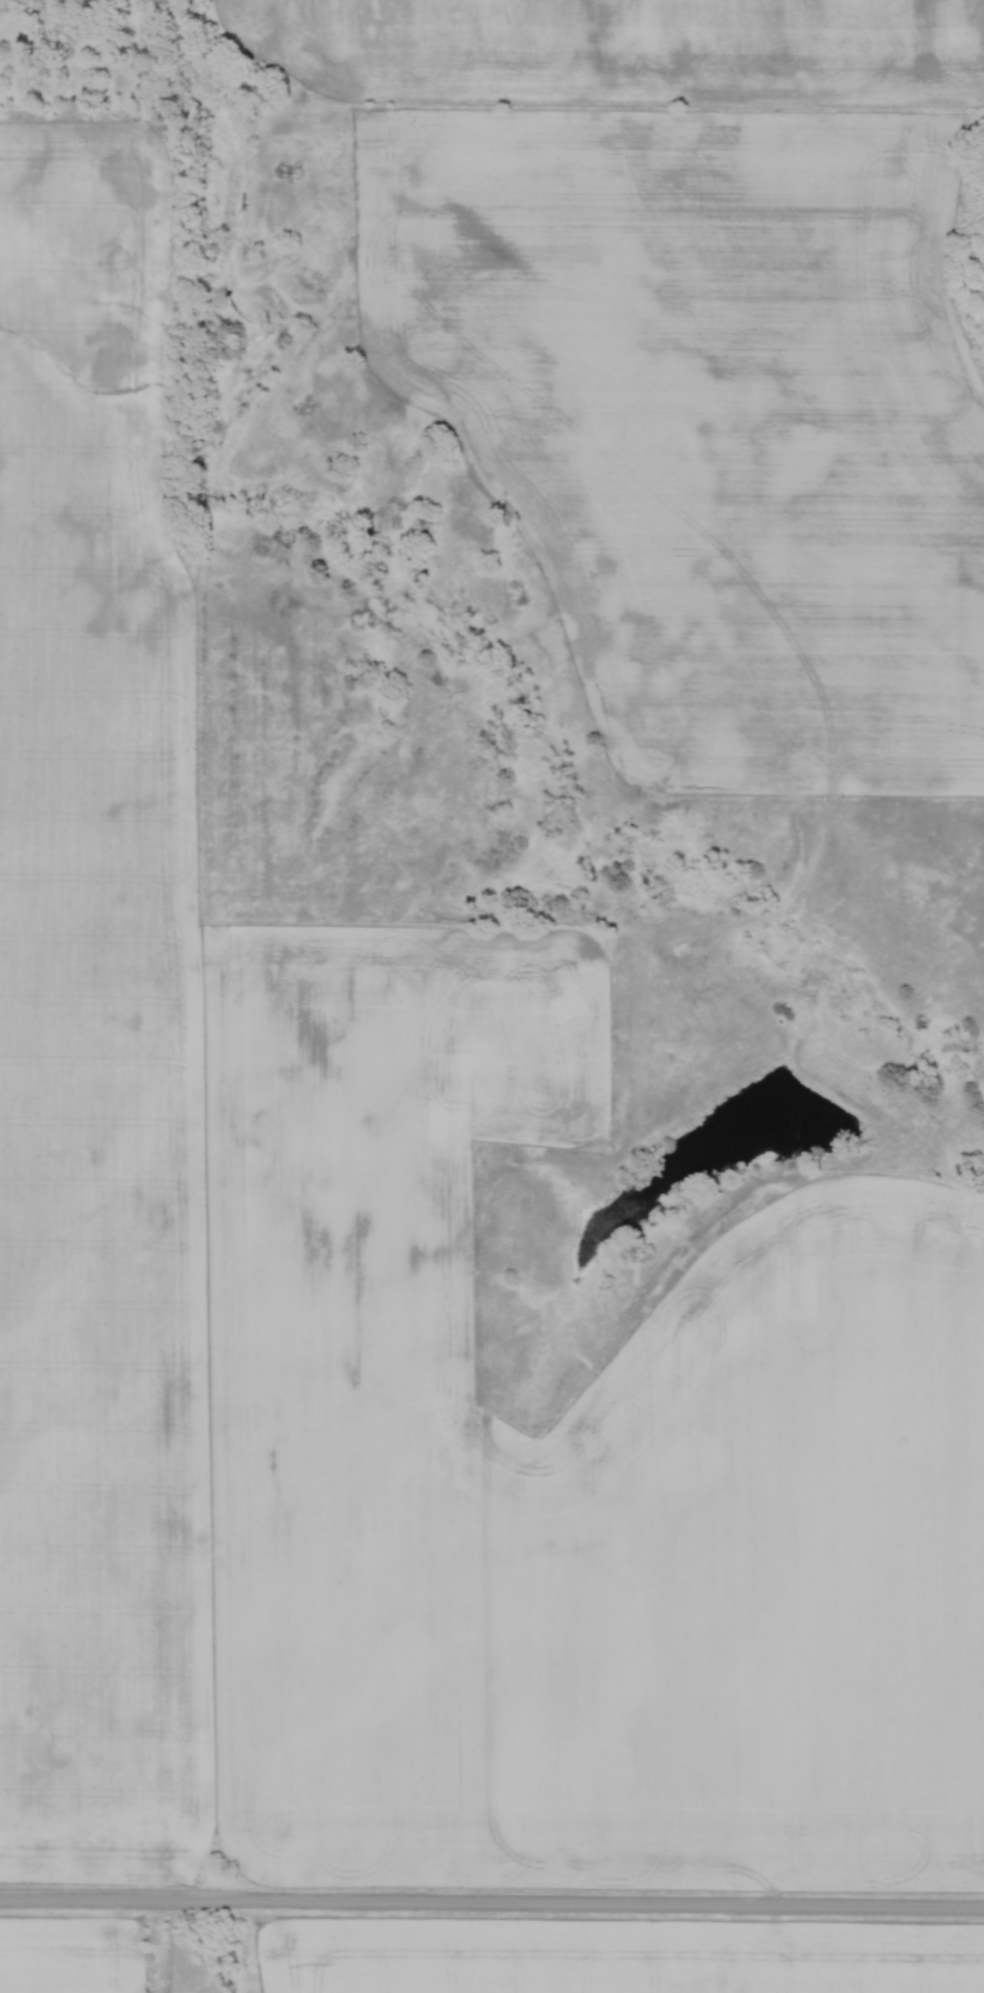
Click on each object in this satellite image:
road: (492, 1905)
crop: (68, 1956)
crop: (620, 1957)

